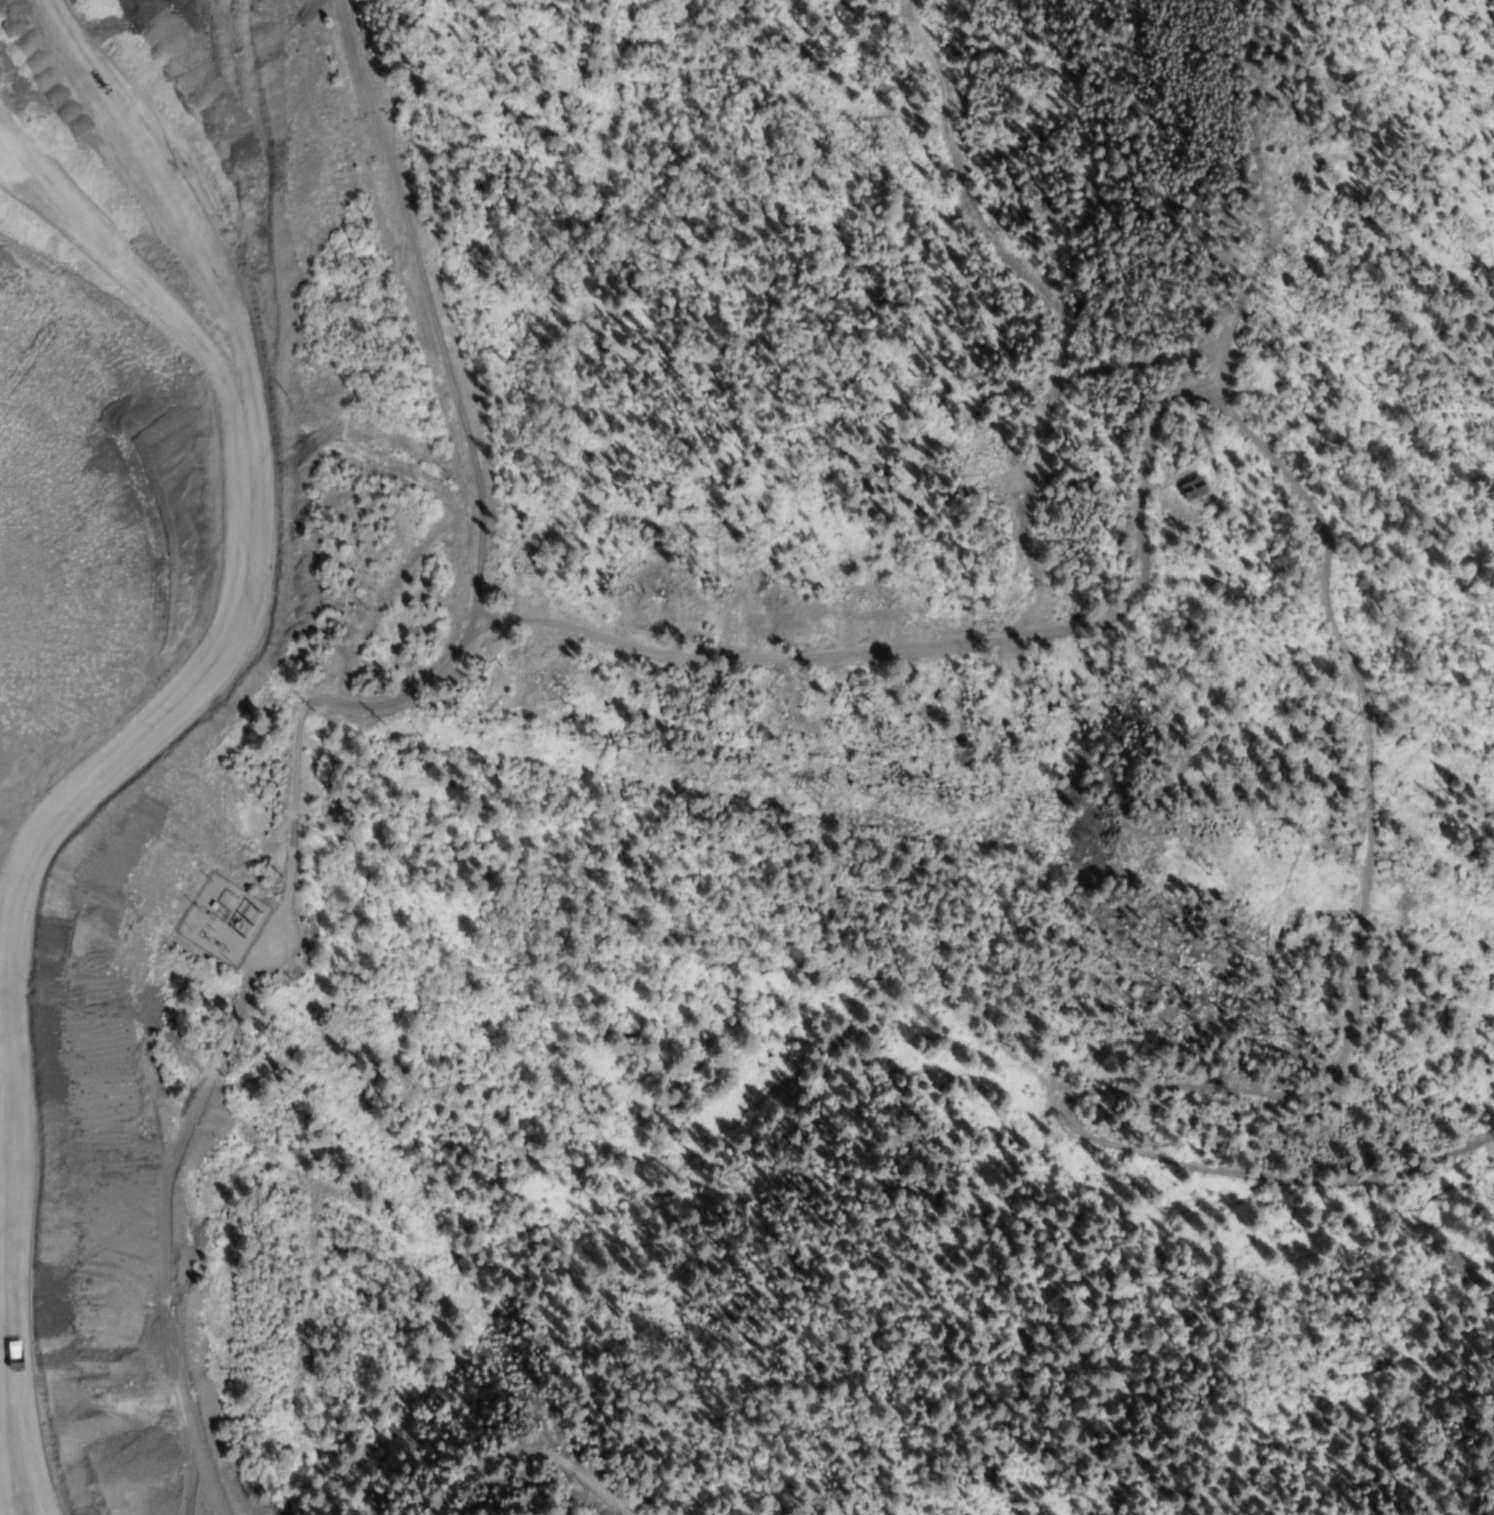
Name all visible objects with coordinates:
road: (420, 312)
building: (1195, 491)
road: (981, 636)
quarry: (133, 663)
road: (389, 698)
power substation: (223, 920)
road: (1098, 1056)
quarry: (532, 1489)

